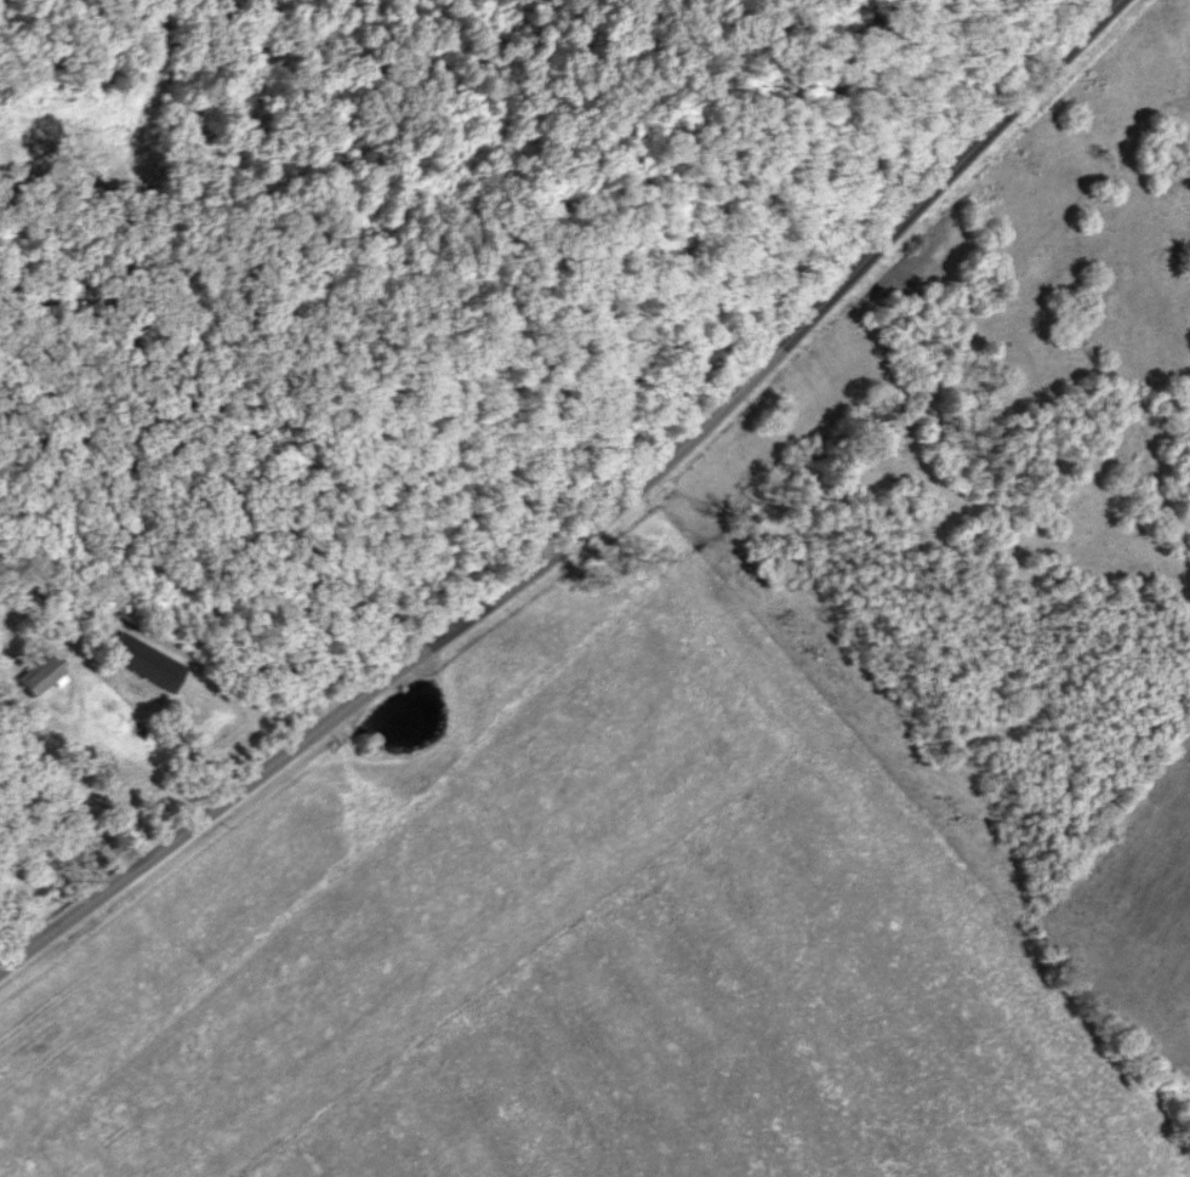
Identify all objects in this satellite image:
road: (590, 522)
building: (138, 660)
building: (24, 687)

